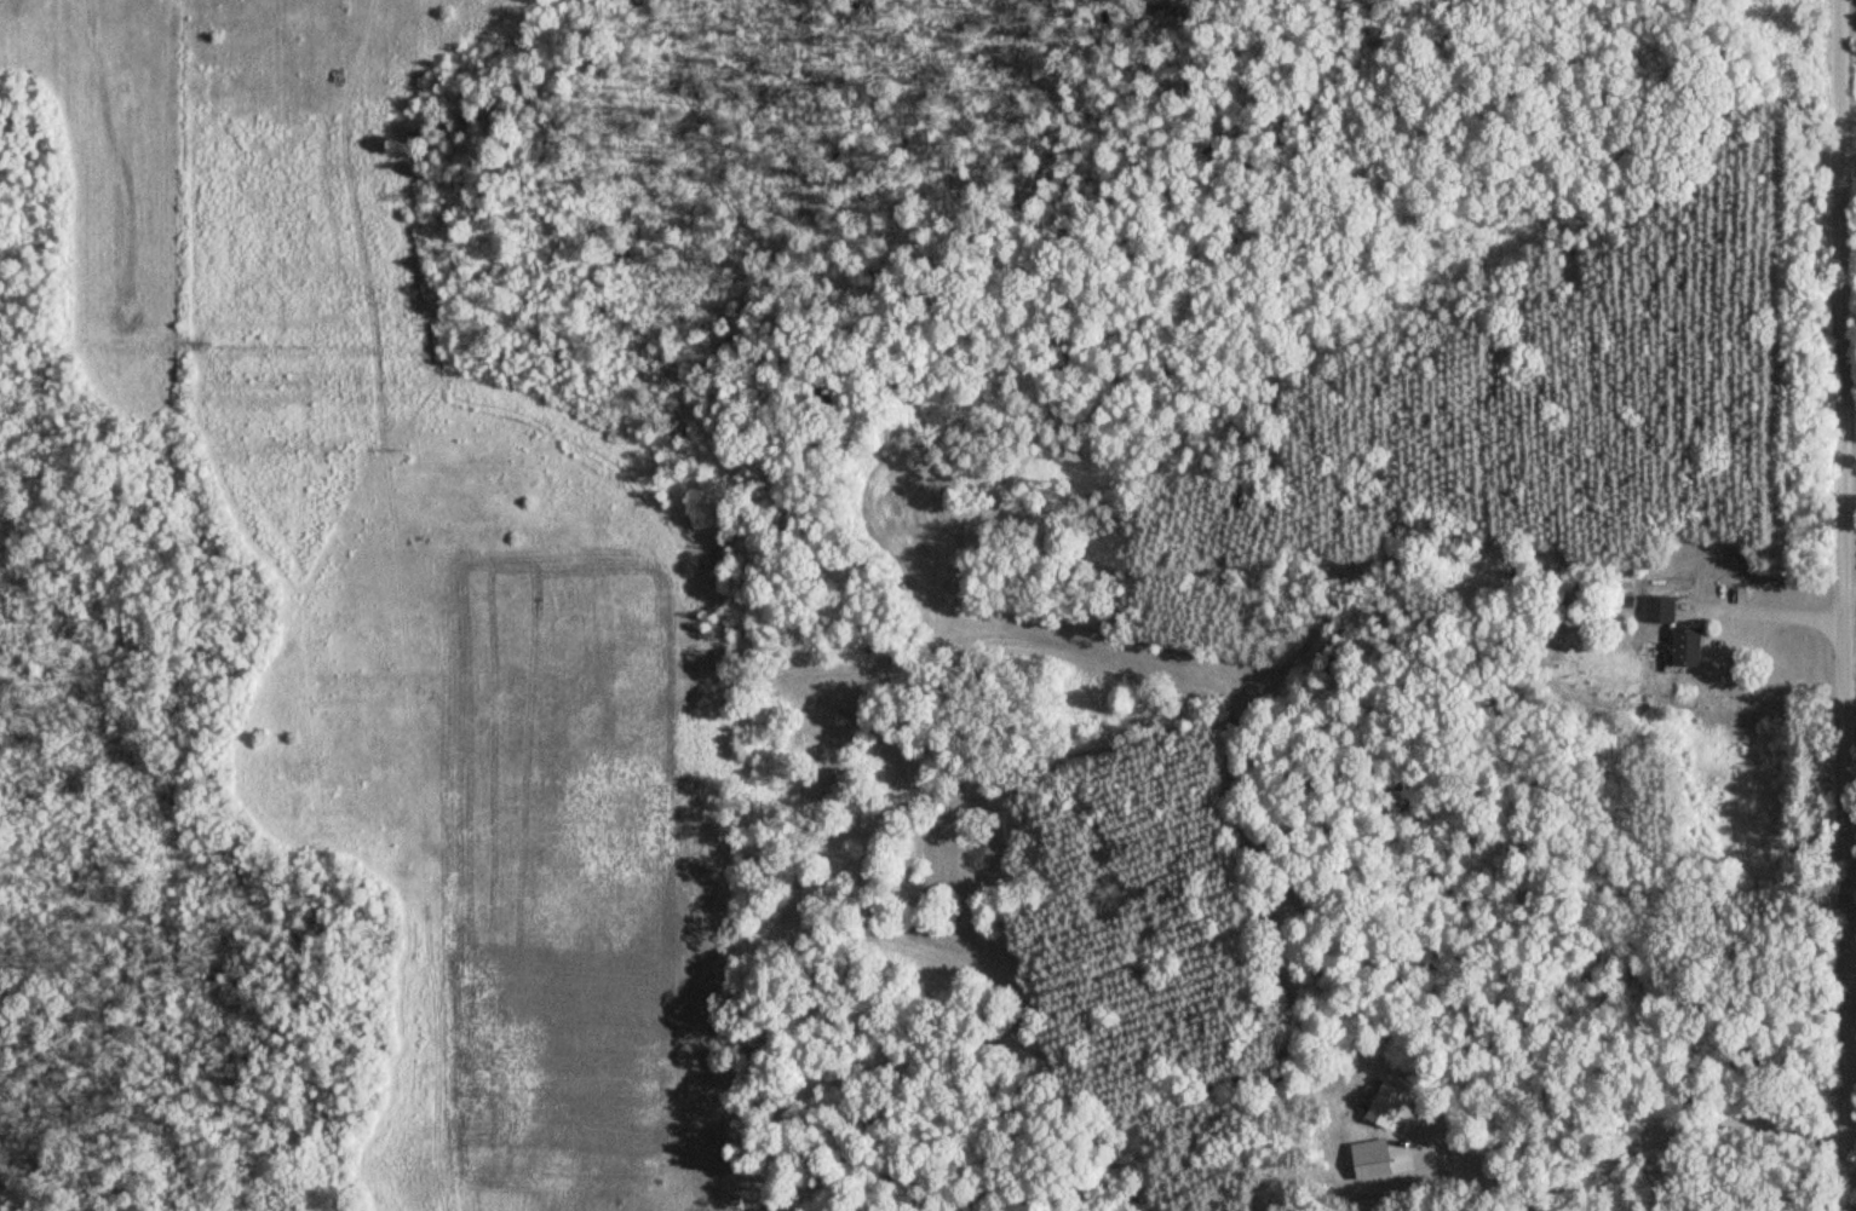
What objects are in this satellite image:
road: (1843, 605)
building: (1665, 609)
building: (1693, 646)
building: (1389, 1103)
road: (1614, 1155)

